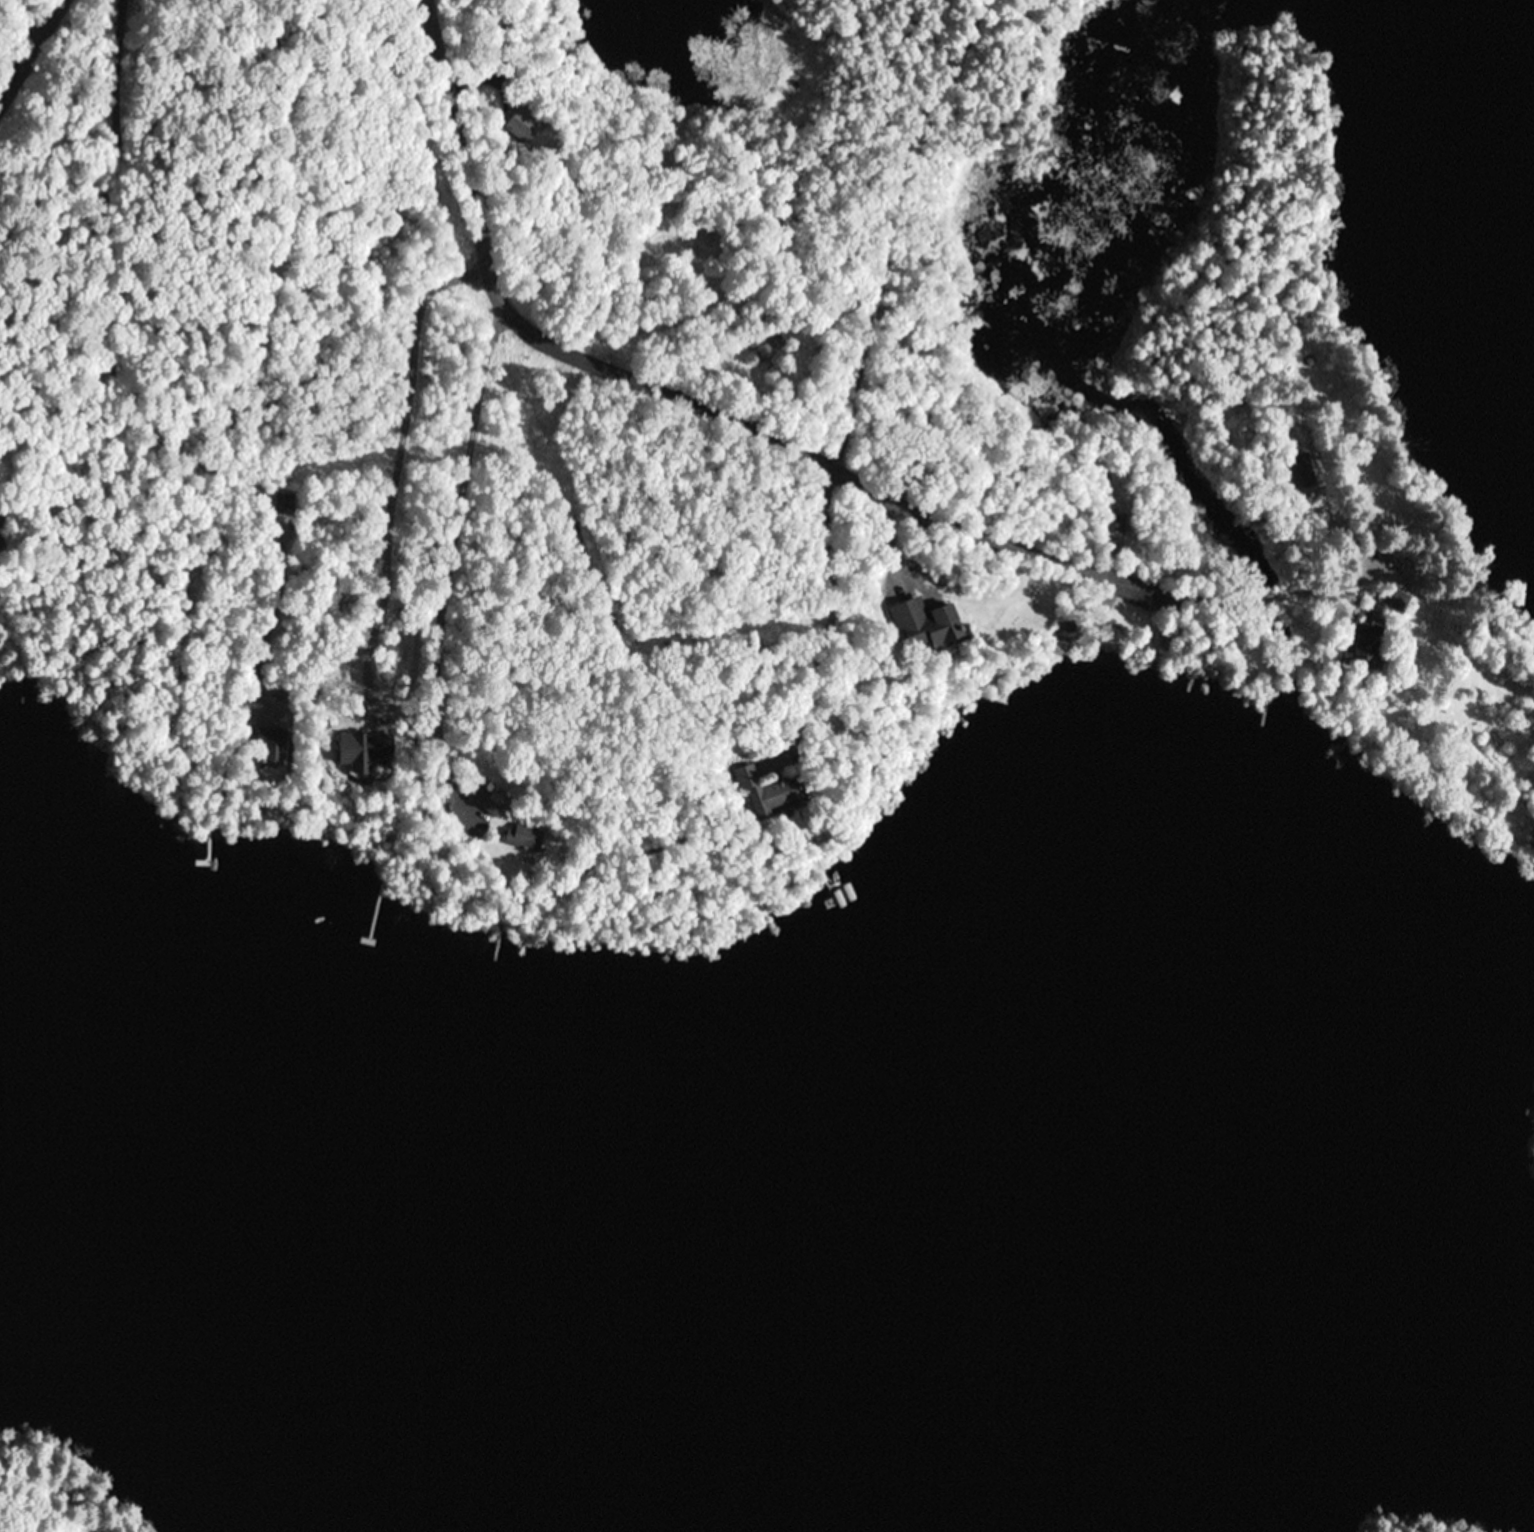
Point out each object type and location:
road: (29, 13)
road: (30, 46)
road: (875, 243)
road: (846, 470)
road: (496, 553)
road: (1501, 693)

